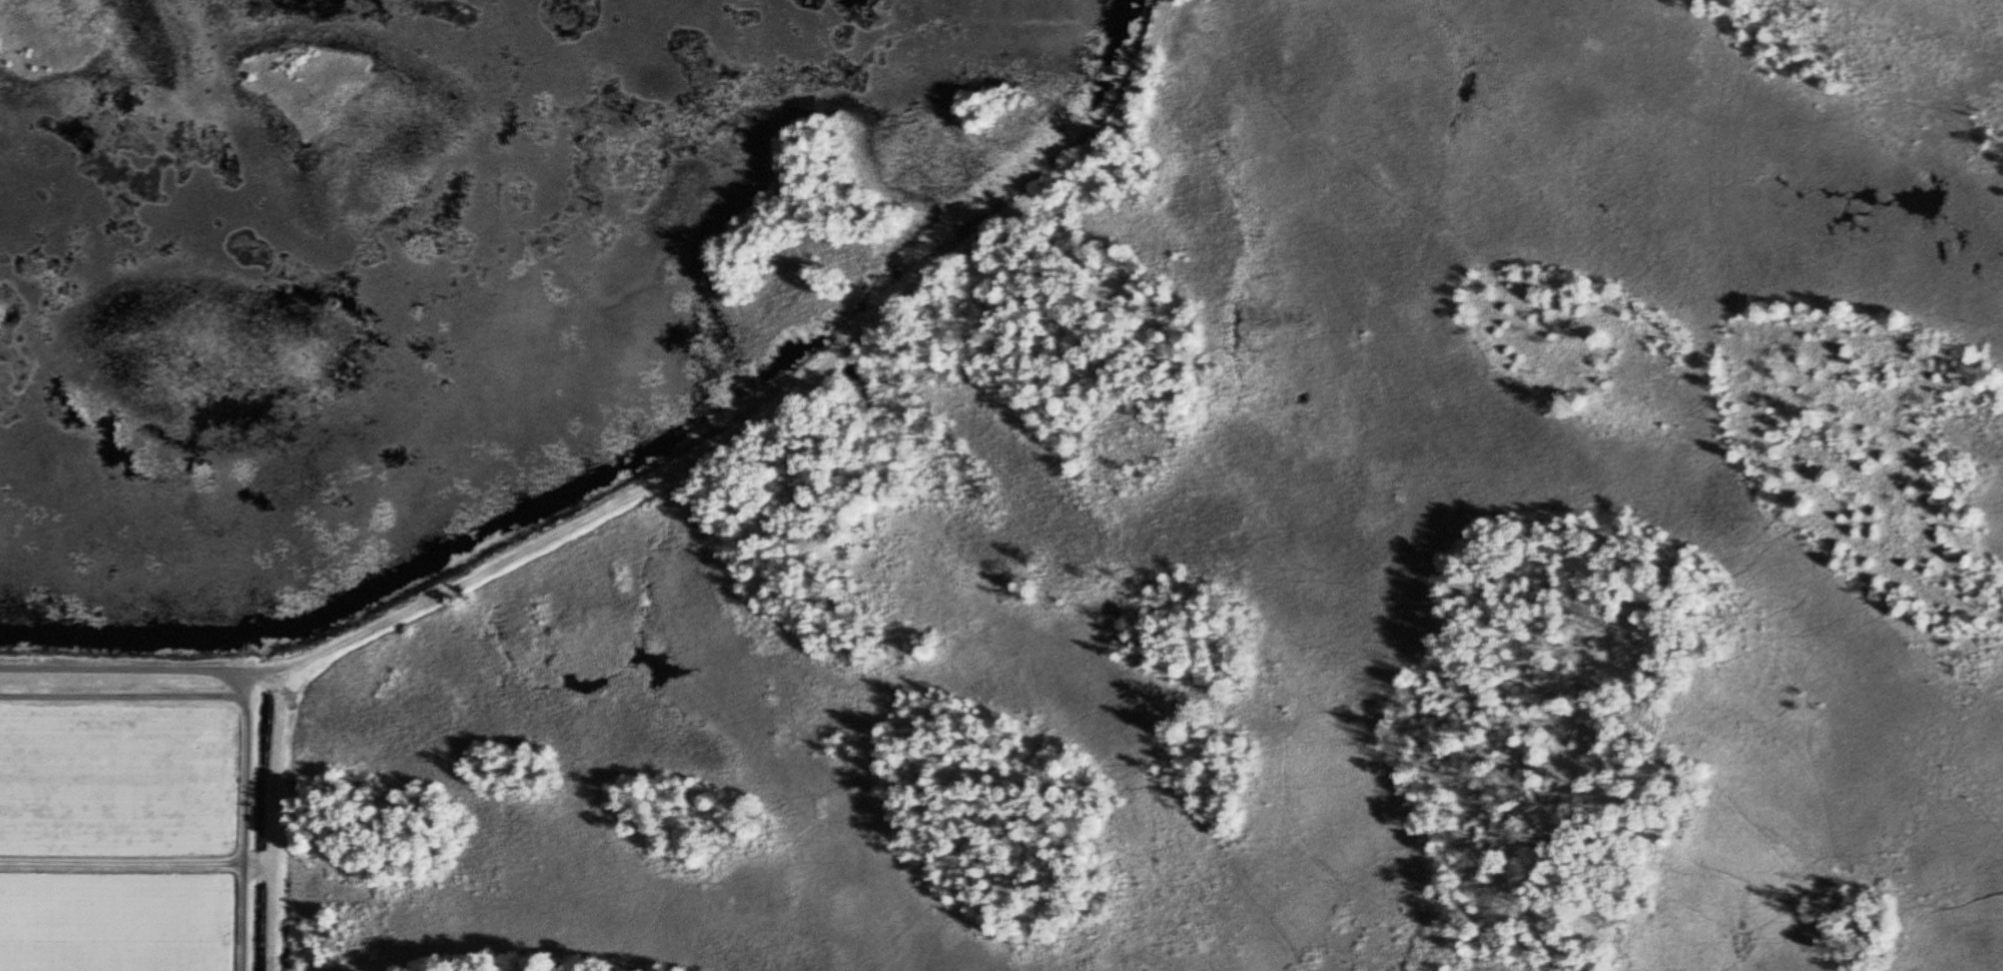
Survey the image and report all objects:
crop: (136, 807)

